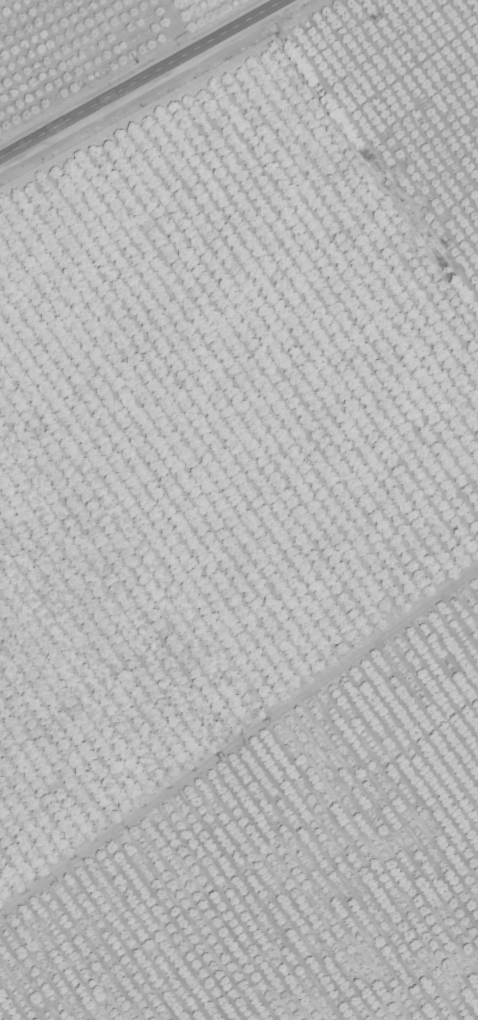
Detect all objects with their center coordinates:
road: (139, 77)

